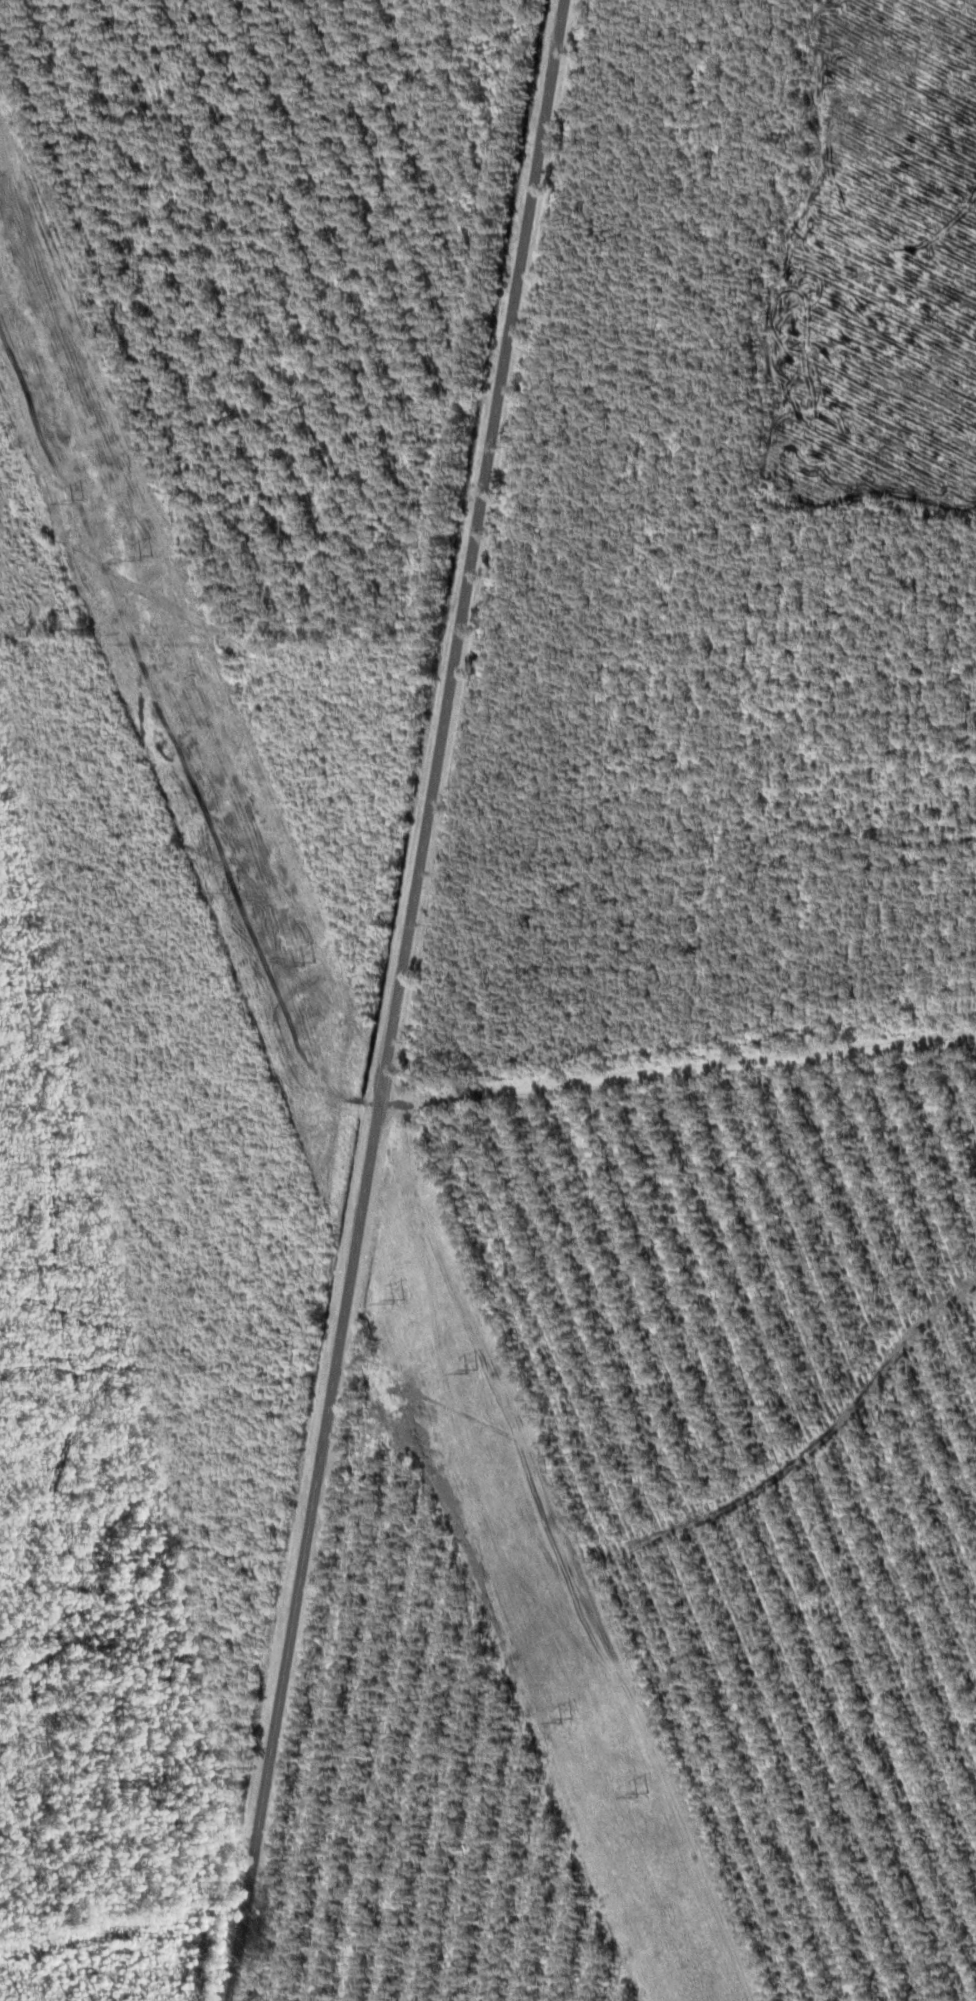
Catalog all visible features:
power tower: (76, 500)
power tower: (147, 556)
power tower: (234, 888)
power tower: (311, 963)
road: (396, 1000)
road: (679, 1084)
power tower: (397, 1299)
power tower: (473, 1372)
power tower: (567, 1719)
power tower: (644, 1792)

